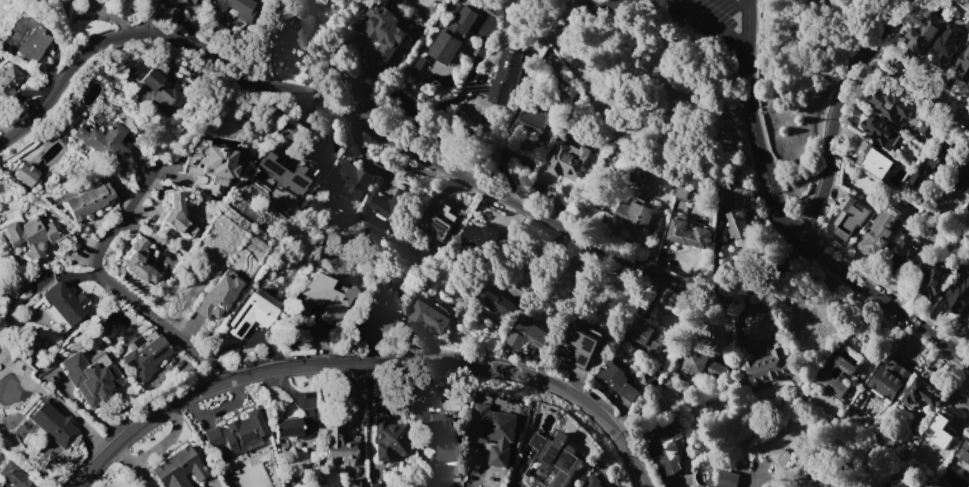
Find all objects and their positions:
building: (181, 1)
road: (746, 1)
road: (600, 4)
building: (234, 7)
road: (146, 13)
road: (697, 17)
building: (383, 28)
building: (296, 33)
building: (922, 33)
building: (453, 36)
road: (741, 37)
building: (31, 45)
building: (944, 46)
building: (963, 63)
building: (417, 66)
building: (506, 77)
building: (8, 79)
building: (153, 82)
road: (914, 84)
building: (481, 88)
building: (889, 104)
road: (835, 112)
building: (542, 121)
road: (754, 123)
building: (927, 128)
building: (881, 131)
road: (382, 134)
building: (102, 142)
building: (940, 154)
building: (873, 159)
building: (567, 160)
building: (209, 165)
building: (286, 168)
building: (24, 174)
building: (639, 175)
building: (962, 178)
building: (351, 179)
building: (683, 191)
building: (727, 198)
building: (88, 200)
building: (389, 203)
building: (173, 213)
building: (635, 214)
building: (851, 217)
building: (441, 221)
building: (738, 223)
building: (879, 232)
building: (689, 233)
building: (481, 235)
building: (37, 238)
building: (907, 261)
building: (138, 263)
building: (933, 279)
road: (122, 288)
building: (958, 293)
building: (217, 296)
building: (326, 298)
building: (63, 302)
road: (879, 302)
building: (495, 303)
building: (968, 310)
building: (250, 315)
building: (372, 316)
building: (429, 316)
building: (967, 319)
building: (529, 334)
building: (645, 334)
building: (585, 343)
building: (145, 358)
road: (369, 363)
building: (701, 363)
building: (767, 366)
building: (836, 374)
building: (86, 379)
building: (618, 380)
building: (888, 380)
building: (923, 393)
building: (51, 425)
building: (294, 425)
building: (420, 430)
building: (942, 430)
building: (494, 431)
building: (236, 435)
building: (444, 438)
building: (387, 440)
building: (538, 440)
building: (336, 445)
building: (668, 446)
building: (966, 449)
building: (562, 457)
building: (178, 469)
building: (14, 475)
building: (728, 479)
building: (593, 481)
building: (354, 483)
building: (372, 484)
building: (293, 485)

